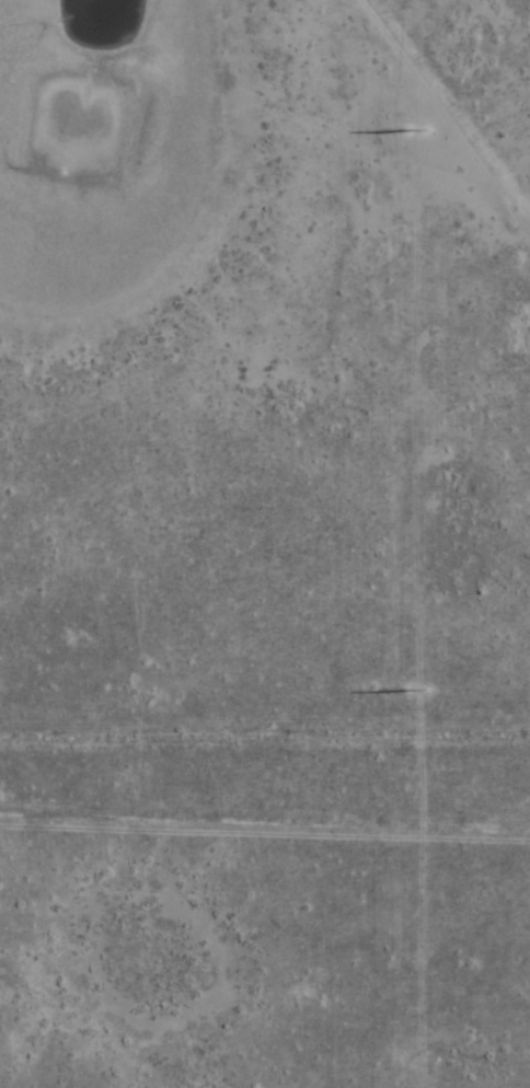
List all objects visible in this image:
power tower: (417, 129)
power tower: (418, 691)
road: (264, 697)

